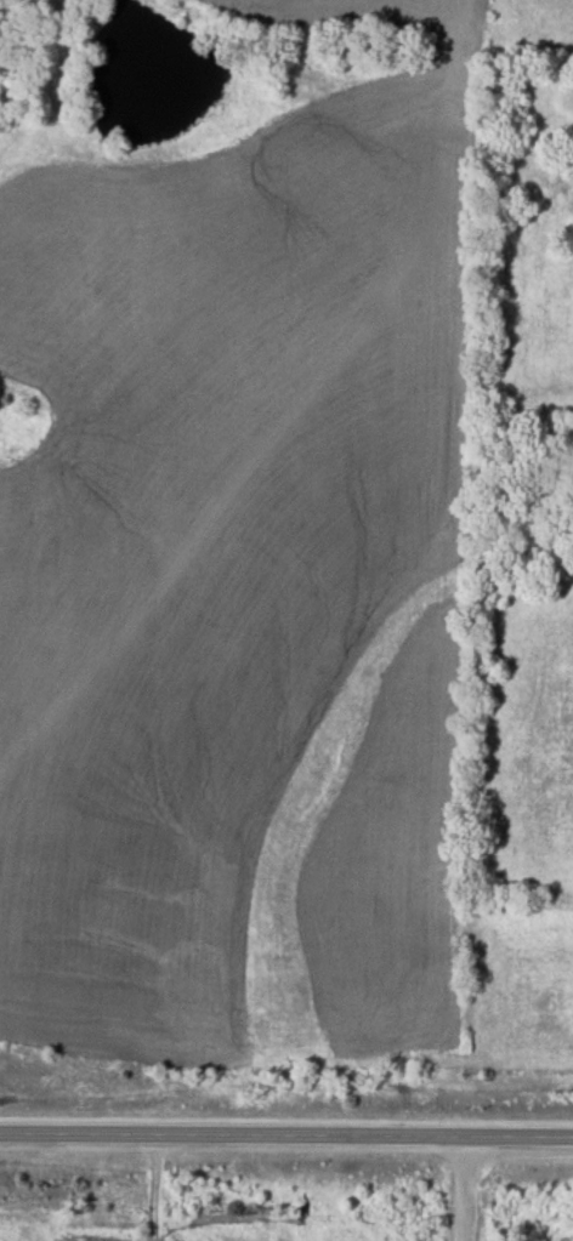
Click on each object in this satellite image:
road: (286, 1132)
road: (460, 1186)

